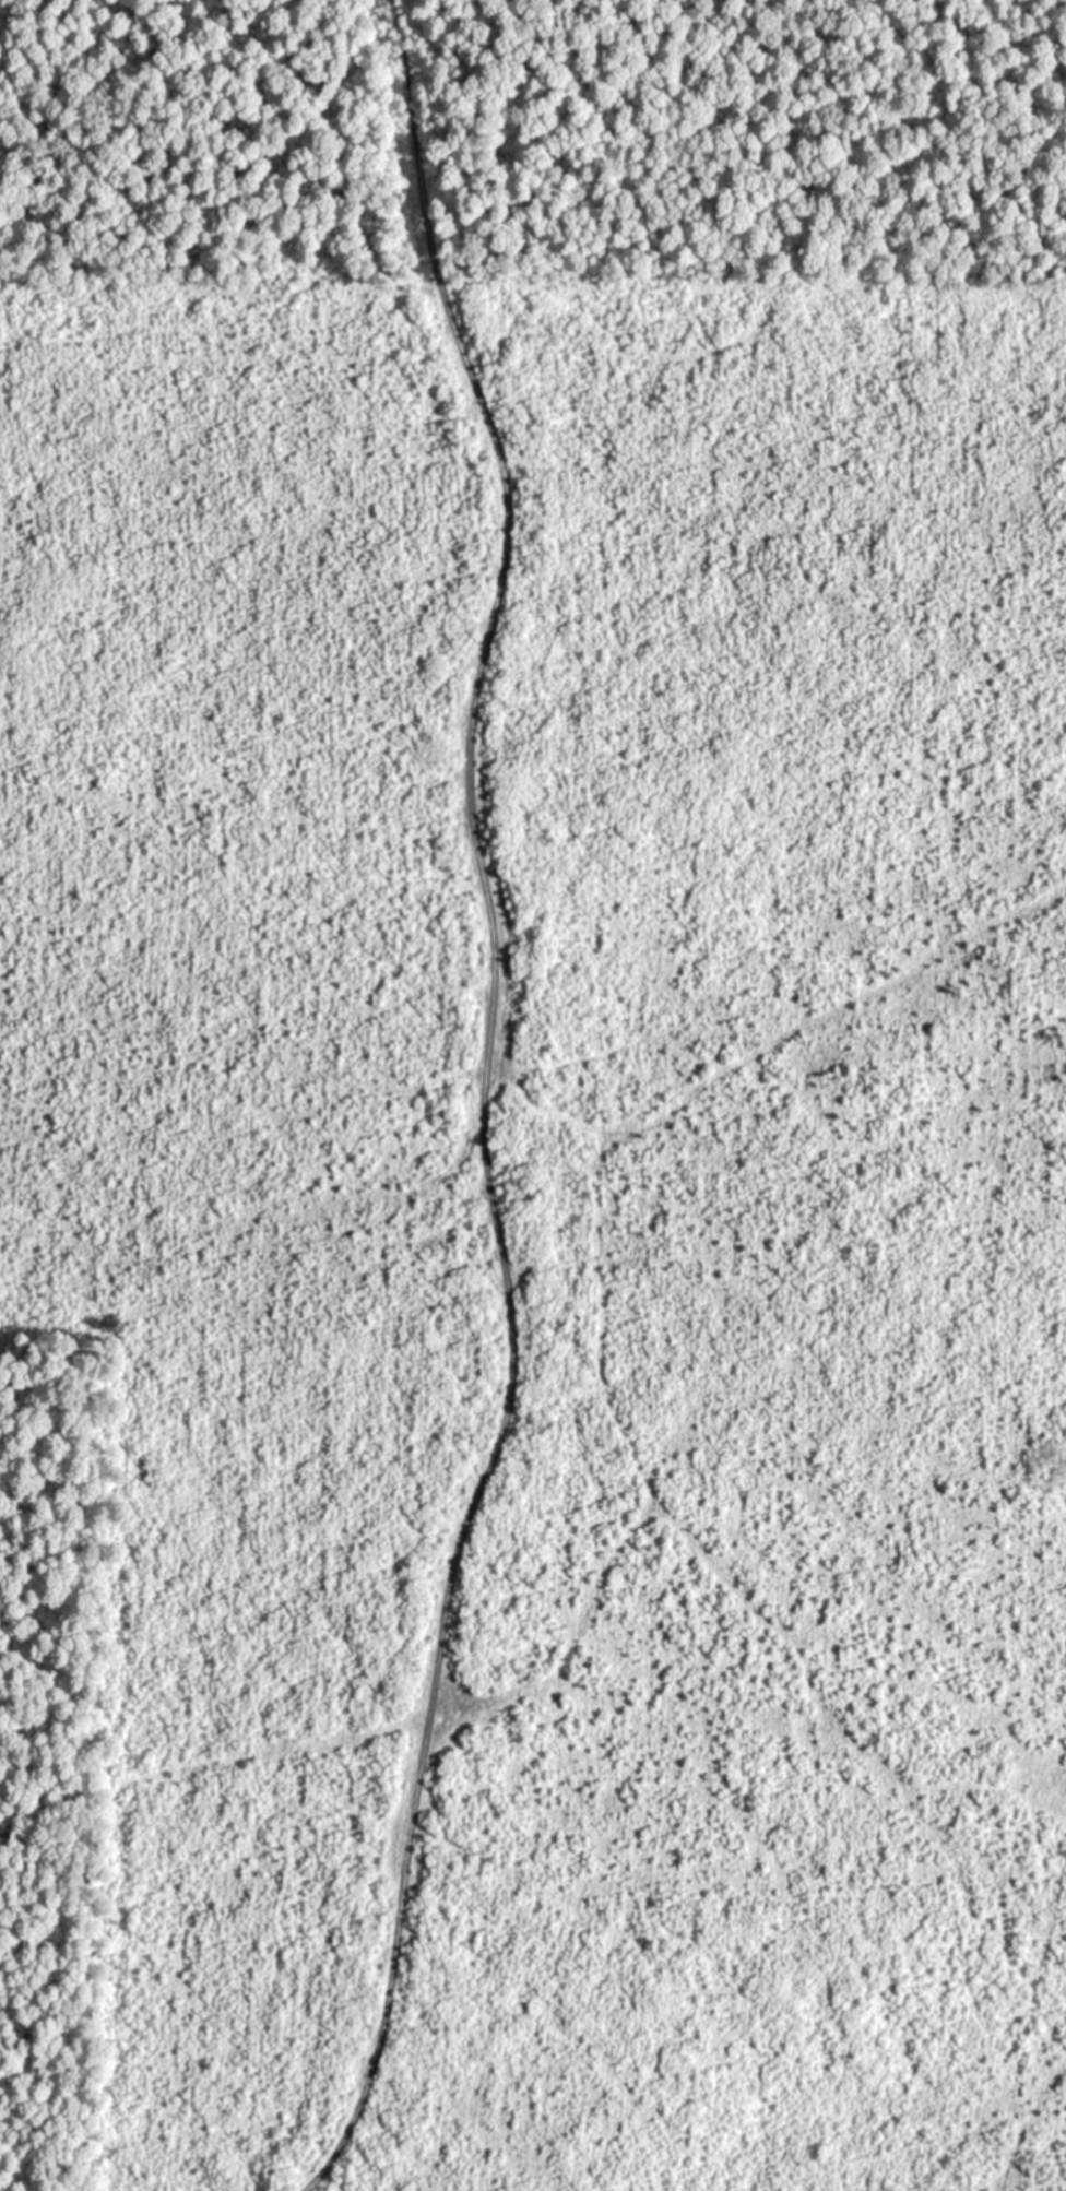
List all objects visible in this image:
road: (485, 1105)

